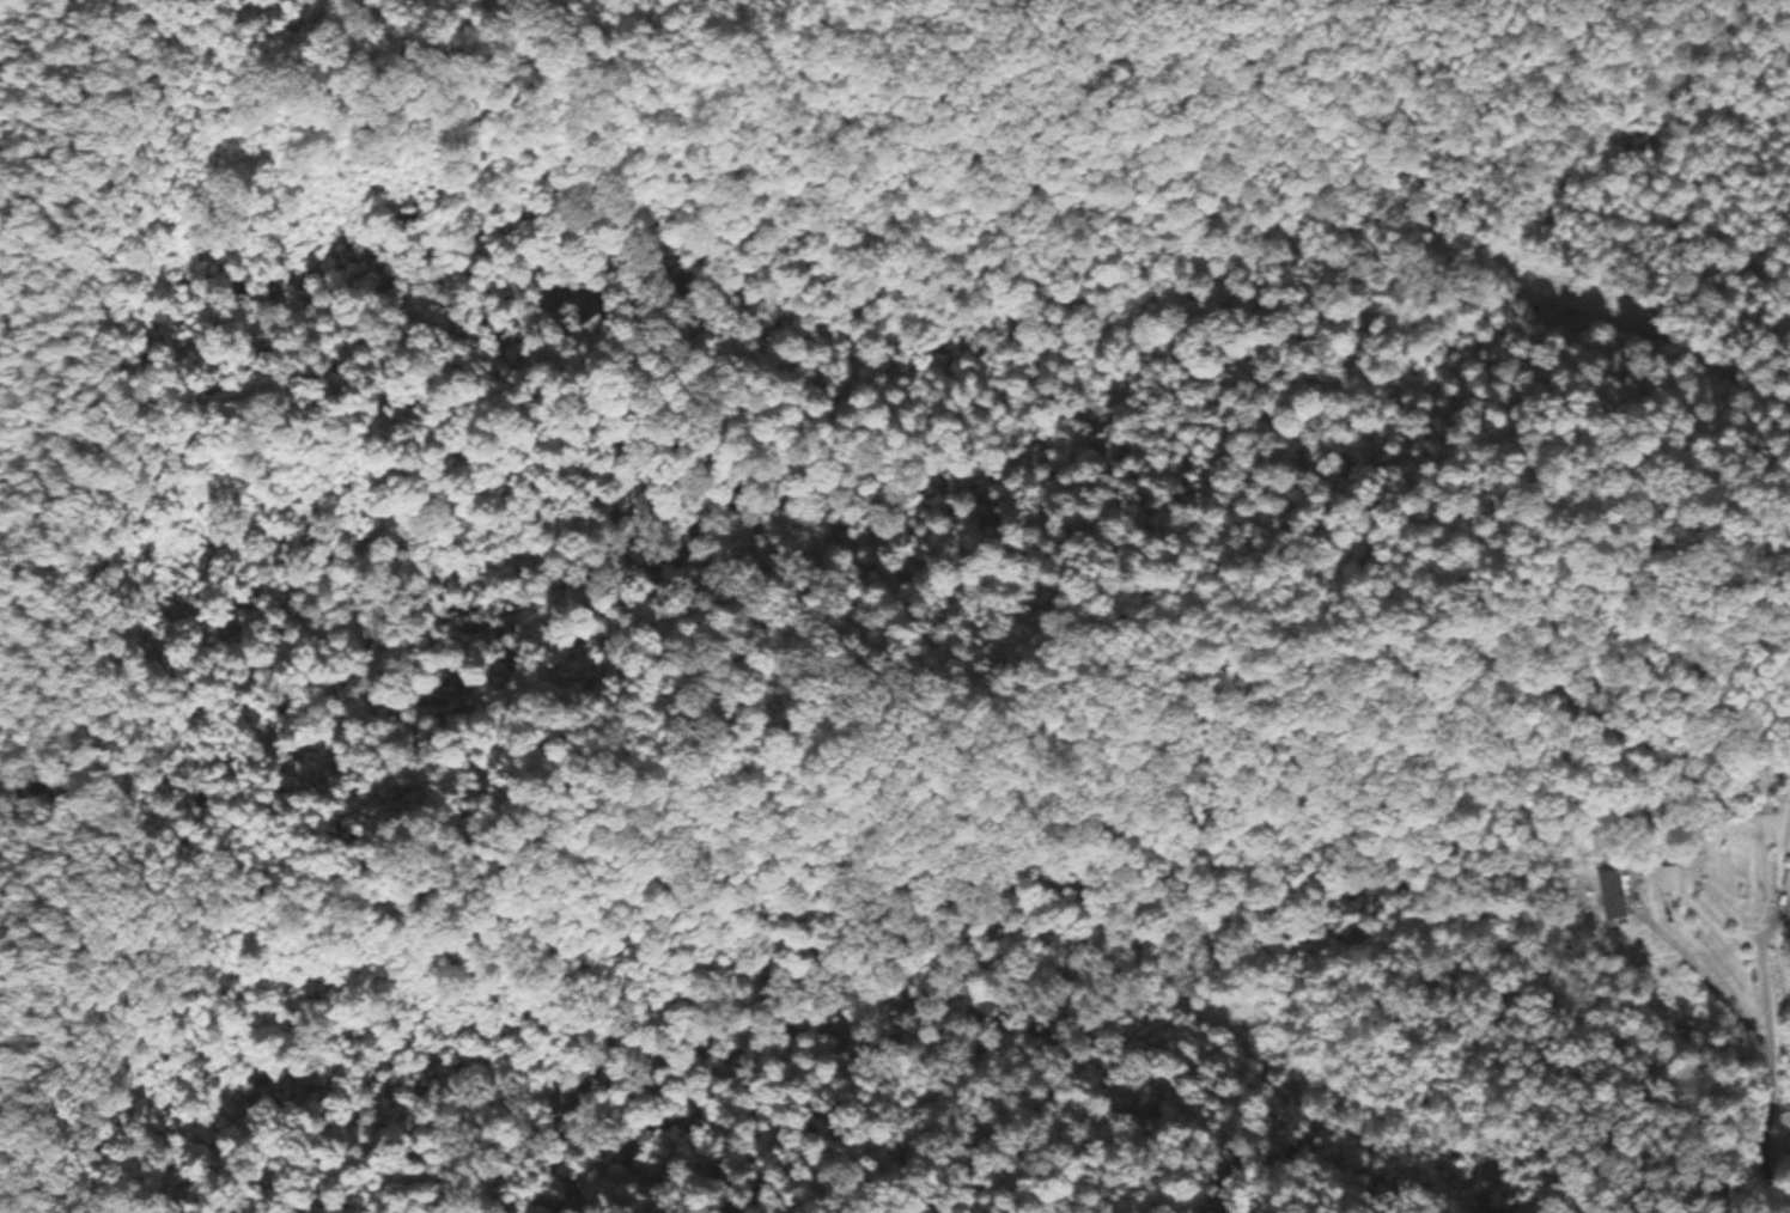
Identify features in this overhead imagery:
building: (1670, 880)
building: (1786, 880)
road: (1768, 1036)

